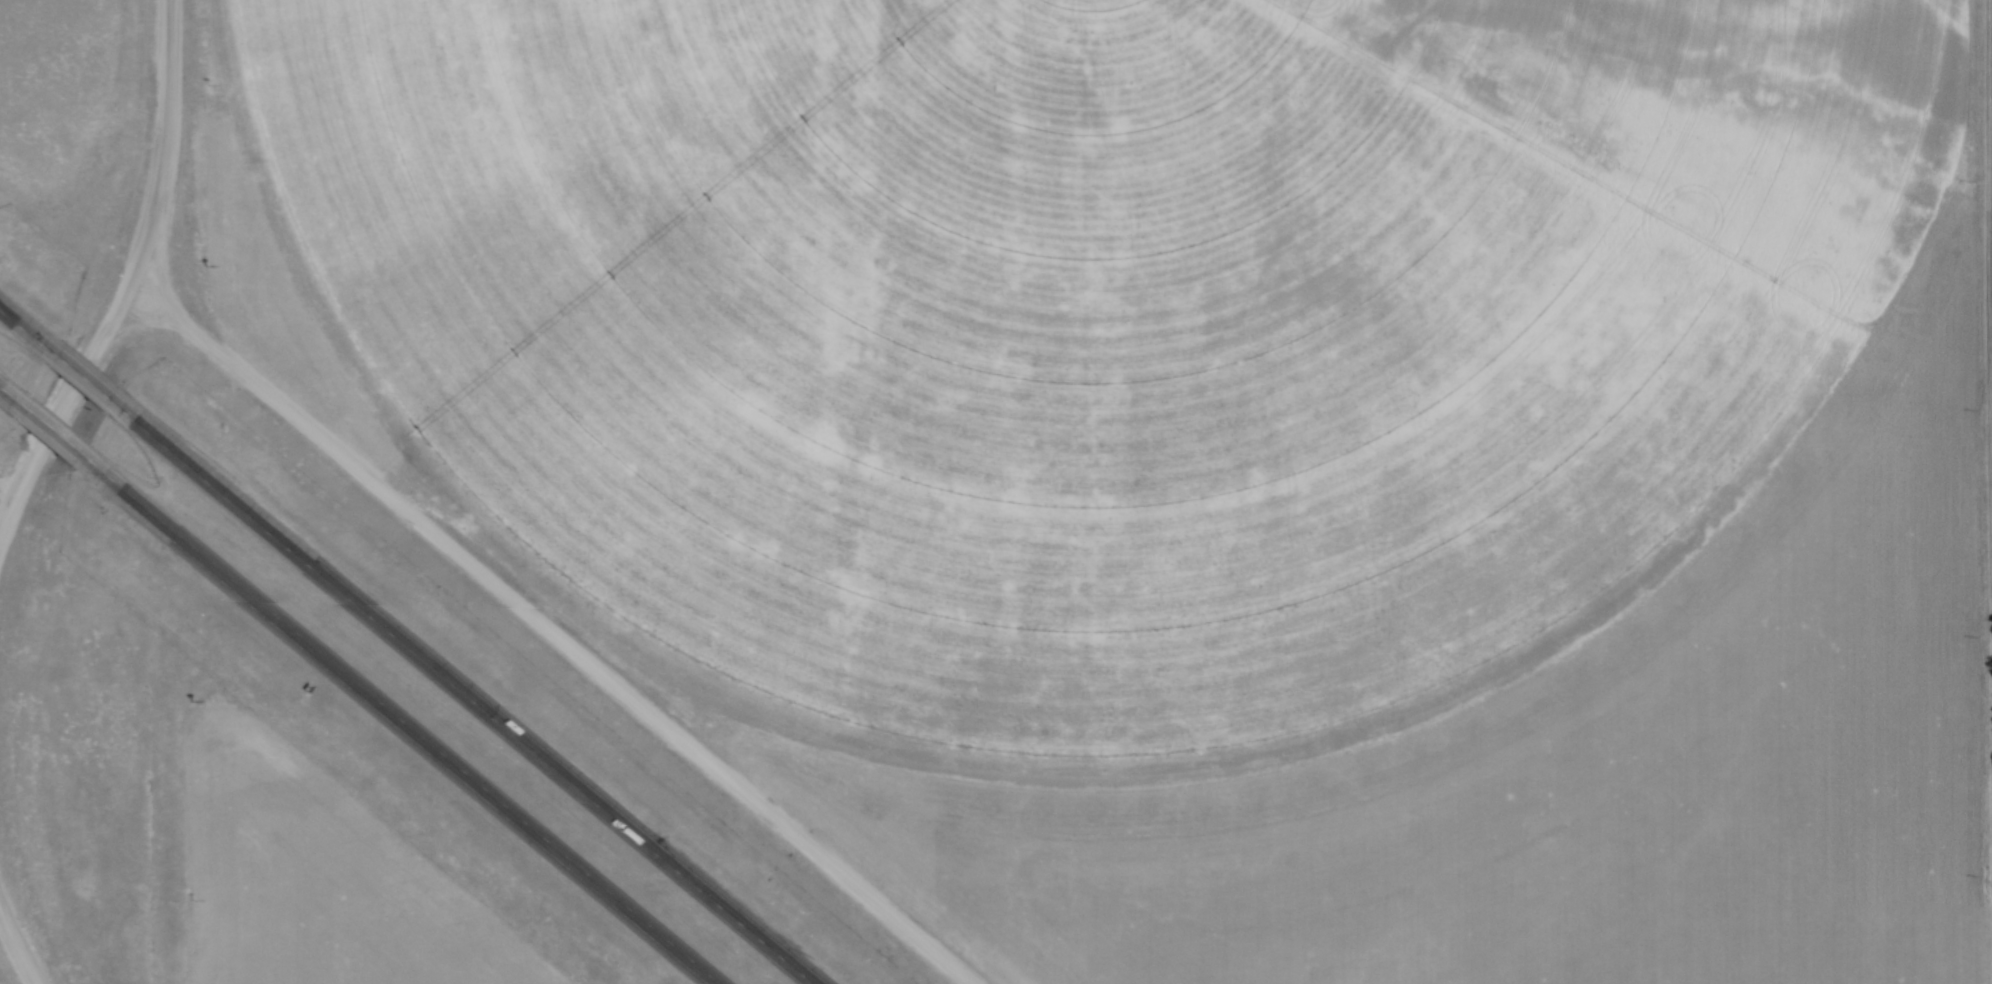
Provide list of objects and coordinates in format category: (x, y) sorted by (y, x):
road: (133, 275)
road: (28, 334)
road: (88, 385)
road: (10, 396)
road: (54, 433)
crop: (1204, 442)
road: (541, 636)
road: (466, 698)
road: (403, 723)
crop: (309, 882)
road: (12, 960)

